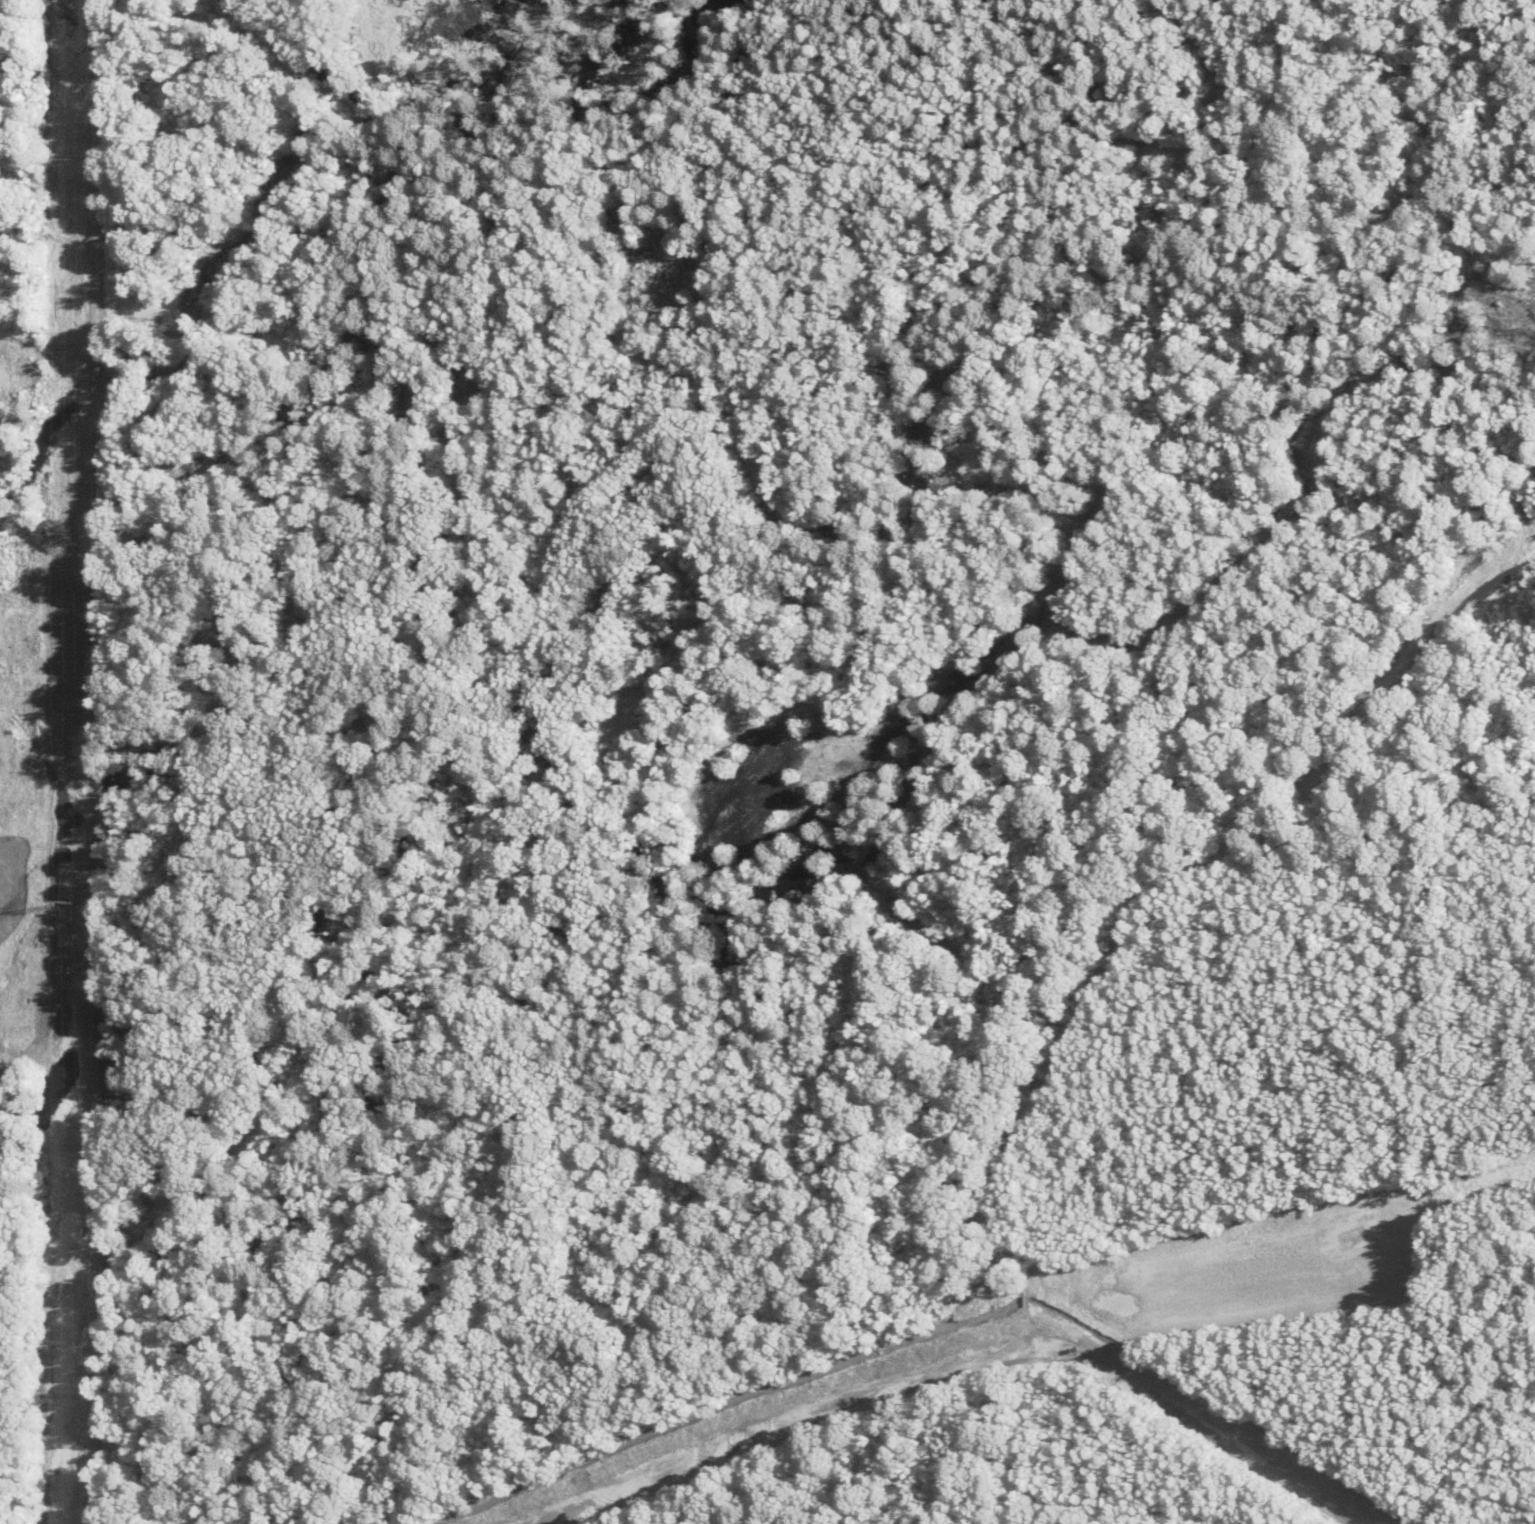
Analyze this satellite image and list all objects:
power tower: (76, 158)
building: (104, 378)
power tower: (72, 531)
power tower: (70, 900)
power tower: (72, 1278)

